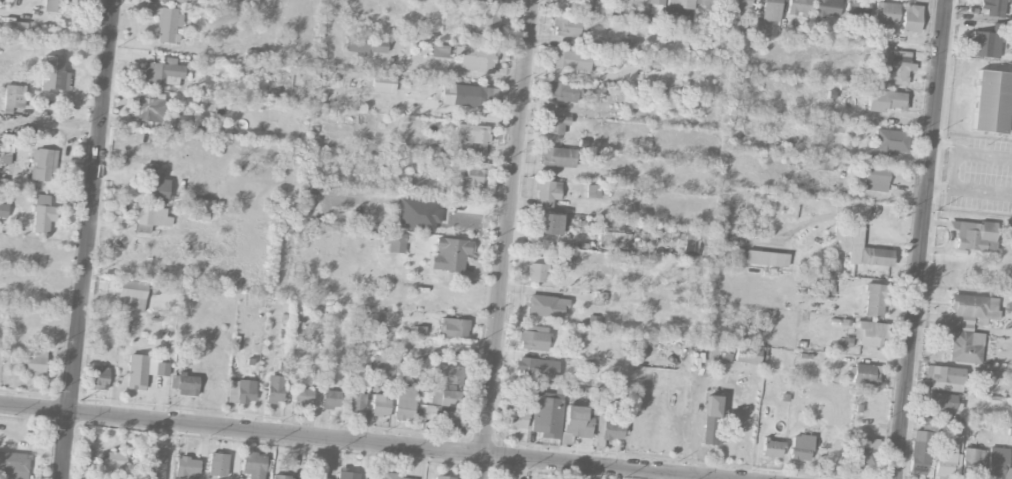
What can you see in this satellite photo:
building: (252, 0)
building: (494, 0)
building: (181, 1)
building: (709, 3)
building: (679, 4)
building: (739, 6)
building: (49, 7)
building: (797, 7)
building: (993, 7)
building: (827, 8)
building: (857, 9)
building: (582, 10)
building: (770, 11)
building: (886, 13)
building: (911, 19)
building: (479, 22)
building: (168, 26)
building: (566, 27)
building: (15, 28)
building: (758, 29)
building: (987, 42)
building: (365, 46)
building: (629, 47)
building: (439, 51)
building: (474, 58)
building: (570, 61)
building: (894, 69)
building: (162, 71)
building: (53, 75)
building: (383, 84)
building: (561, 92)
building: (467, 96)
building: (14, 97)
building: (884, 101)
building: (991, 102)
building: (149, 107)
building: (556, 125)
building: (26, 131)
building: (471, 139)
building: (891, 141)
building: (6, 143)
road: (970, 151)
building: (557, 157)
building: (42, 164)
building: (815, 165)
building: (875, 179)
building: (469, 183)
building: (153, 186)
road: (969, 191)
building: (546, 193)
building: (3, 211)
building: (42, 214)
building: (417, 215)
building: (150, 219)
building: (545, 224)
building: (973, 235)
road: (87, 239)
road: (505, 239)
road: (920, 239)
building: (395, 243)
building: (859, 248)
building: (450, 255)
building: (762, 259)
building: (536, 273)
building: (130, 296)
building: (874, 301)
building: (545, 307)
building: (1009, 307)
building: (969, 327)
building: (454, 328)
building: (869, 334)
building: (534, 338)
building: (747, 355)
building: (29, 363)
building: (382, 368)
building: (536, 369)
building: (143, 371)
building: (448, 375)
building: (864, 375)
building: (99, 378)
building: (944, 378)
building: (186, 385)
building: (274, 390)
building: (241, 392)
building: (302, 397)
building: (330, 399)
building: (448, 399)
power tower: (80, 401)
building: (942, 402)
building: (356, 403)
building: (404, 404)
building: (380, 406)
building: (711, 406)
building: (546, 415)
building: (514, 417)
building: (444, 420)
building: (577, 422)
building: (927, 425)
building: (612, 428)
building: (710, 433)
road: (356, 442)
building: (800, 448)
building: (771, 449)
building: (865, 452)
building: (919, 453)
building: (944, 460)
building: (971, 463)
building: (997, 464)
building: (217, 465)
building: (253, 465)
building: (13, 466)
building: (111, 466)
building: (151, 466)
building: (186, 468)
building: (347, 475)
building: (385, 476)
building: (282, 477)
building: (315, 477)
building: (442, 477)

